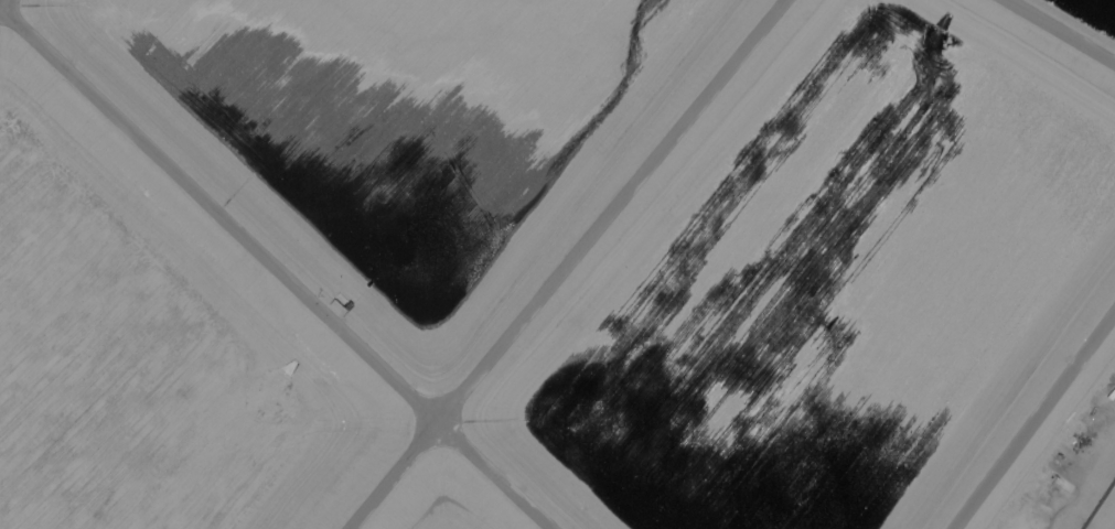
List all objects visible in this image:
road: (1060, 32)
road: (564, 264)
road: (275, 268)
road: (1032, 418)

